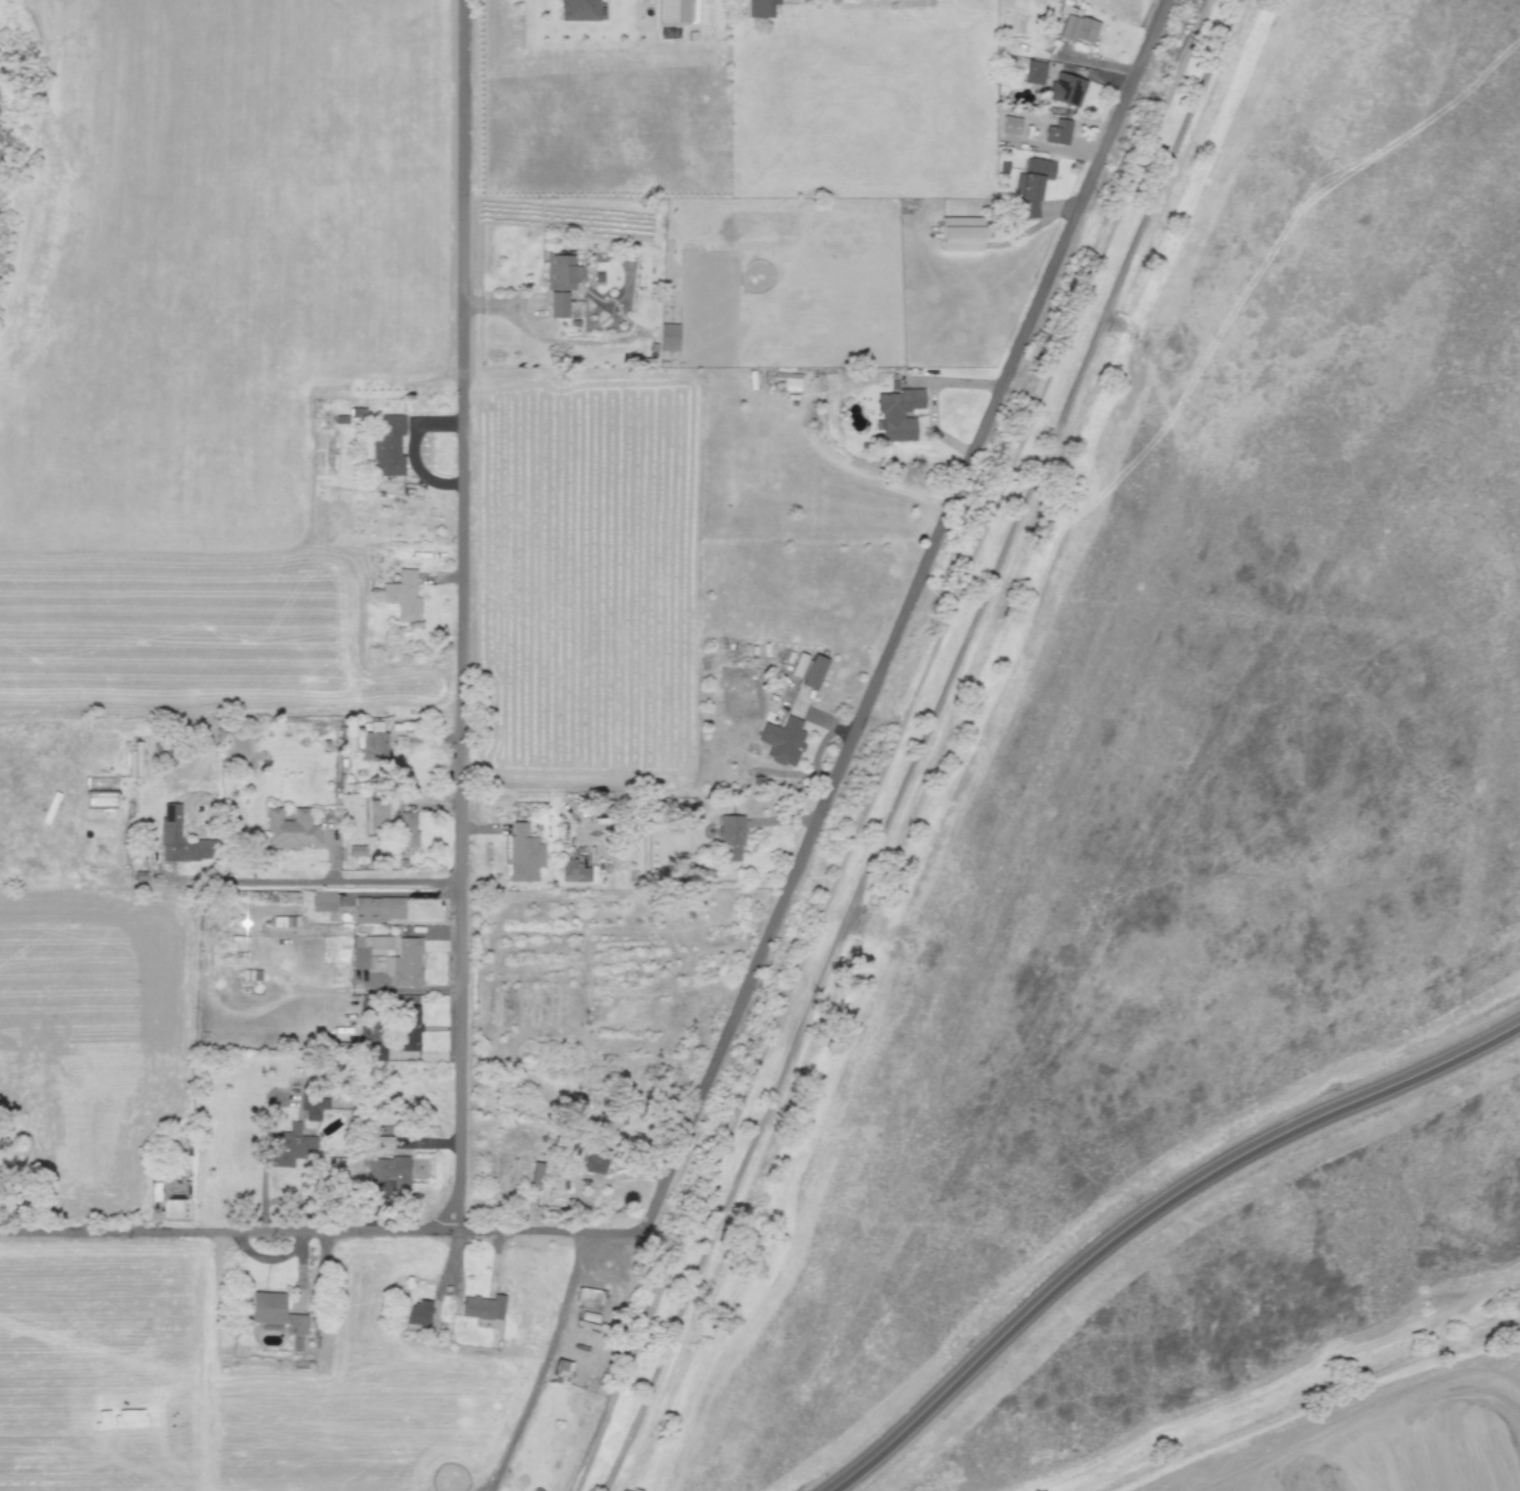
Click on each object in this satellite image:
building: (761, 8)
building: (578, 10)
building: (673, 10)
building: (1077, 29)
building: (1035, 71)
building: (1066, 89)
crop: (759, 117)
building: (1010, 124)
building: (1058, 132)
building: (1032, 177)
building: (1028, 209)
building: (962, 234)
building: (561, 271)
building: (558, 304)
building: (668, 337)
crop: (211, 348)
building: (791, 379)
road: (935, 394)
building: (898, 412)
building: (388, 445)
road: (412, 452)
crop: (585, 581)
crop: (805, 586)
building: (403, 595)
road: (461, 614)
road: (904, 614)
building: (808, 669)
building: (782, 740)
building: (374, 743)
road: (898, 745)
road: (928, 747)
building: (170, 821)
building: (290, 828)
building: (730, 838)
building: (356, 850)
building: (524, 853)
building: (575, 871)
road: (328, 881)
building: (323, 901)
building: (377, 909)
building: (284, 921)
building: (368, 950)
building: (404, 962)
road: (268, 965)
building: (250, 974)
road: (406, 988)
building: (408, 1022)
crop: (93, 1033)
building: (313, 1107)
building: (382, 1142)
building: (291, 1145)
building: (593, 1162)
building: (395, 1172)
building: (535, 1175)
building: (169, 1189)
road: (1144, 1213)
road: (319, 1228)
building: (590, 1297)
building: (482, 1306)
building: (275, 1312)
building: (417, 1313)
road: (543, 1363)
crop: (102, 1367)
building: (561, 1370)
crop: (1358, 1424)

